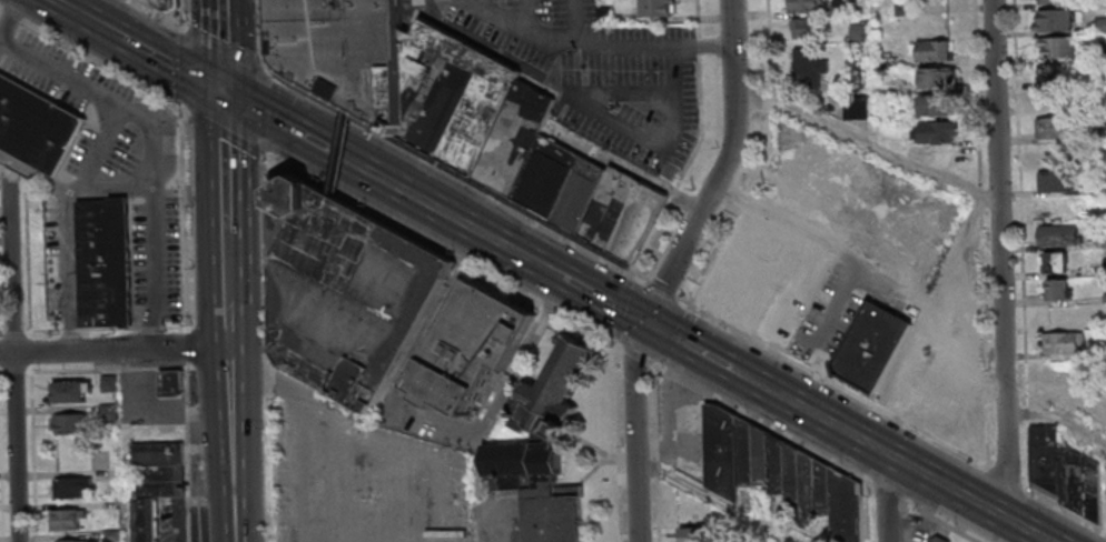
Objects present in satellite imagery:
building: (1050, 1)
road: (60, 4)
building: (170, 6)
building: (804, 6)
building: (658, 8)
road: (160, 12)
road: (185, 14)
building: (1055, 19)
road: (12, 20)
road: (93, 22)
road: (579, 24)
building: (1102, 24)
building: (806, 28)
road: (259, 39)
road: (0, 41)
road: (220, 46)
road: (593, 48)
building: (1056, 48)
road: (225, 50)
building: (931, 50)
building: (343, 54)
road: (90, 56)
road: (169, 63)
road: (179, 66)
parking lot: (55, 67)
building: (809, 67)
parking lot: (598, 70)
building: (1049, 73)
building: (938, 78)
traffic signals: (223, 92)
building: (937, 104)
building: (856, 107)
road: (271, 119)
road: (275, 122)
building: (37, 128)
building: (1056, 128)
road: (224, 131)
building: (935, 131)
road: (867, 141)
road: (698, 143)
road: (155, 148)
parking lot: (105, 152)
building: (335, 154)
road: (340, 157)
road: (224, 161)
road: (767, 161)
road: (4, 168)
road: (451, 173)
building: (1056, 181)
road: (120, 184)
road: (441, 210)
road: (185, 215)
road: (69, 218)
road: (692, 228)
building: (1059, 234)
road: (954, 247)
road: (443, 249)
parking lot: (157, 255)
road: (999, 260)
building: (1054, 261)
parking lot: (55, 262)
building: (107, 263)
road: (226, 268)
road: (544, 268)
road: (876, 270)
road: (660, 289)
building: (1056, 289)
building: (346, 294)
road: (601, 299)
road: (623, 308)
building: (809, 309)
traffic signals: (644, 322)
road: (674, 334)
building: (1064, 342)
road: (689, 345)
building: (473, 347)
road: (115, 350)
road: (270, 352)
road: (636, 353)
road: (17, 355)
road: (189, 355)
road: (33, 358)
road: (1, 359)
road: (107, 369)
road: (3, 372)
road: (17, 372)
road: (754, 382)
building: (175, 384)
building: (112, 385)
building: (75, 393)
building: (556, 397)
building: (111, 413)
road: (1058, 418)
road: (898, 419)
road: (761, 421)
road: (231, 422)
building: (73, 424)
road: (126, 445)
building: (721, 449)
road: (654, 450)
road: (36, 452)
road: (189, 452)
road: (3, 453)
building: (161, 455)
building: (526, 468)
road: (911, 468)
building: (1065, 472)
building: (165, 484)
building: (76, 488)
road: (886, 489)
road: (635, 495)
road: (885, 496)
road: (717, 499)
road: (188, 503)
building: (557, 515)
building: (69, 521)
building: (148, 521)
road: (944, 521)
building: (690, 534)
building: (116, 536)
building: (938, 539)
building: (89, 541)

